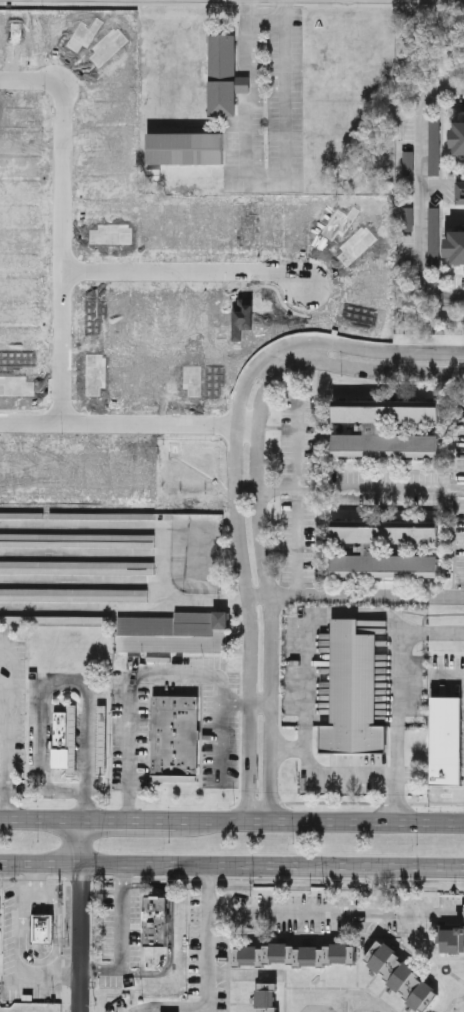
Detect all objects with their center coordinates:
road: (30, 81)
building: (223, 102)
parking lot: (268, 114)
building: (459, 135)
road: (263, 182)
building: (460, 191)
road: (422, 192)
building: (458, 244)
road: (61, 252)
road: (187, 268)
road: (365, 349)
road: (370, 370)
road: (118, 422)
building: (373, 427)
road: (359, 492)
road: (300, 503)
building: (21, 514)
building: (103, 515)
building: (78, 539)
building: (371, 547)
building: (77, 566)
road: (244, 581)
road: (266, 589)
building: (74, 594)
road: (366, 595)
building: (57, 618)
building: (225, 619)
building: (173, 632)
road: (305, 632)
road: (157, 672)
road: (76, 683)
building: (353, 694)
road: (398, 694)
road: (247, 703)
building: (175, 733)
road: (7, 735)
building: (59, 738)
building: (71, 738)
building: (101, 739)
building: (447, 742)
road: (324, 777)
parking lot: (345, 777)
road: (43, 792)
road: (44, 818)
road: (131, 819)
road: (319, 820)
road: (231, 863)
road: (146, 886)
road: (376, 890)
road: (209, 895)
building: (0, 909)
road: (86, 915)
road: (293, 915)
road: (121, 917)
building: (156, 923)
building: (44, 928)
parking lot: (120, 933)
building: (452, 937)
road: (22, 939)
building: (294, 953)
road: (170, 958)
building: (400, 973)
road: (245, 974)
building: (267, 996)

